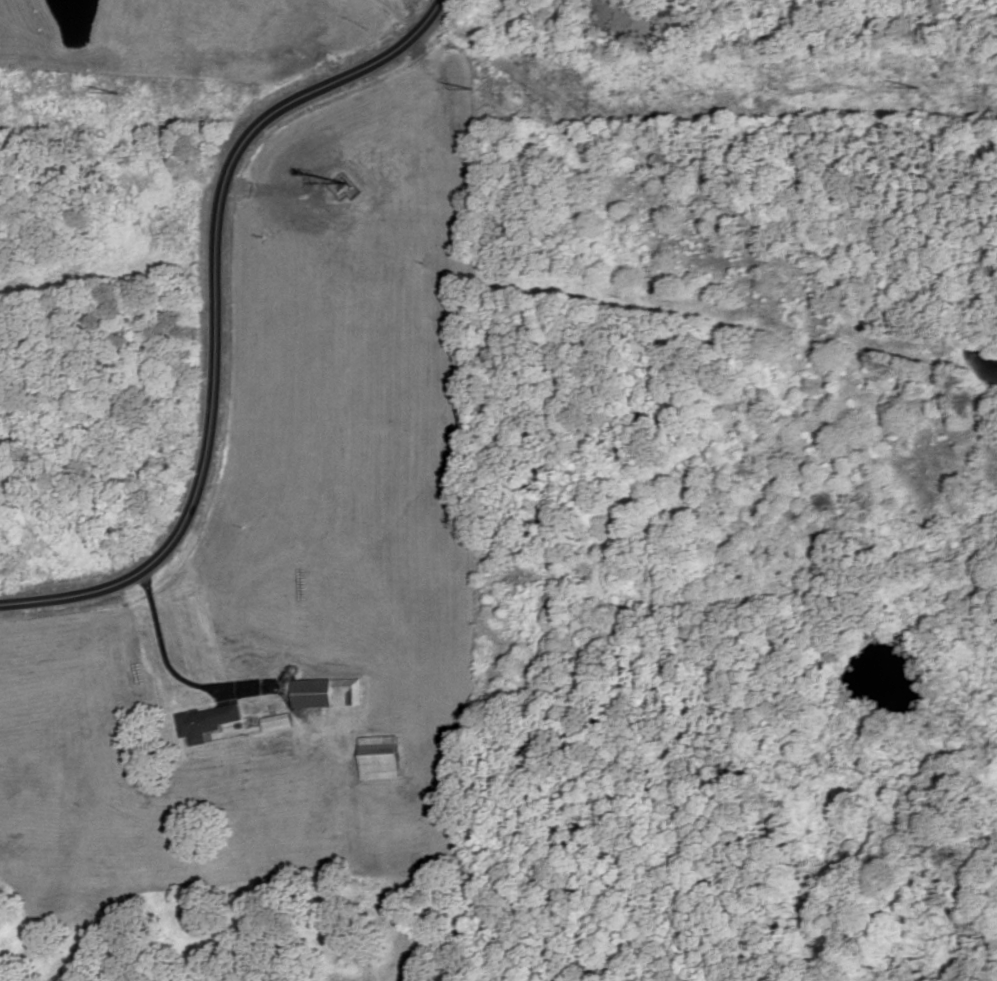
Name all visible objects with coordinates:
road: (397, 15)
road: (275, 192)
road: (216, 314)
road: (177, 675)
building: (349, 690)
building: (314, 693)
building: (209, 722)
building: (278, 722)
building: (380, 758)

